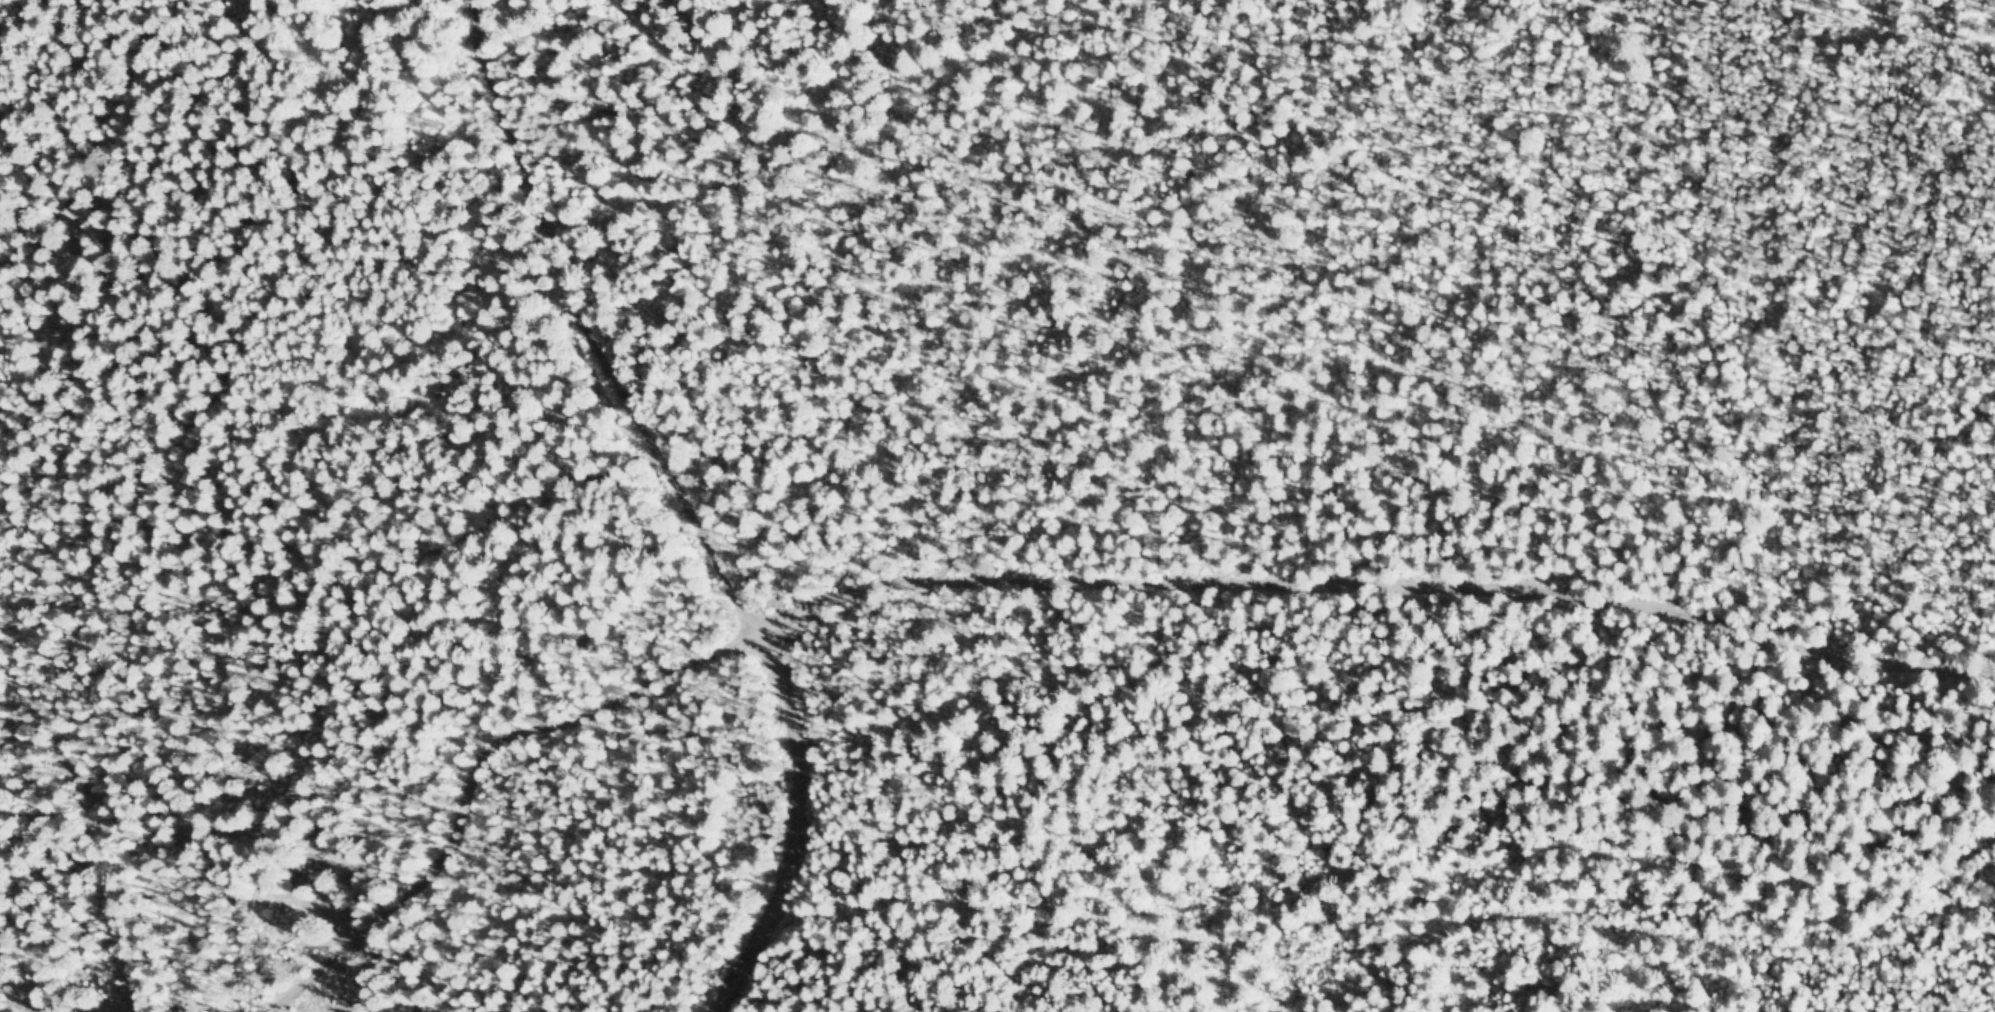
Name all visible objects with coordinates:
road: (1378, 589)
road: (474, 773)
road: (795, 826)
road: (20, 999)

